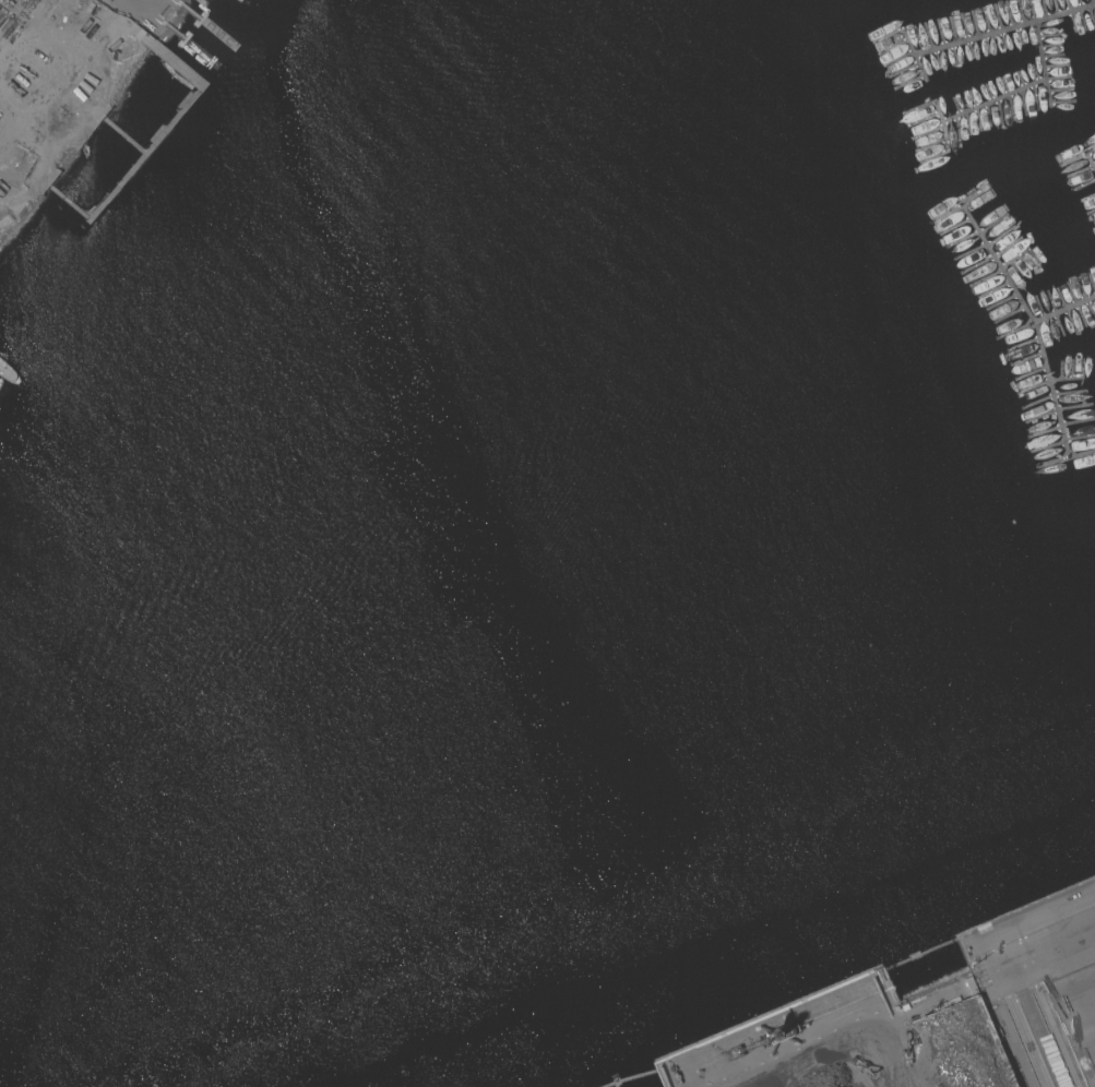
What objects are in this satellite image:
building: (108, 0)
building: (110, 0)
pier: (992, 34)
pier: (924, 68)
pier: (1011, 94)
pier: (942, 114)
pier: (1091, 158)
pier: (998, 263)
pier: (1044, 358)

